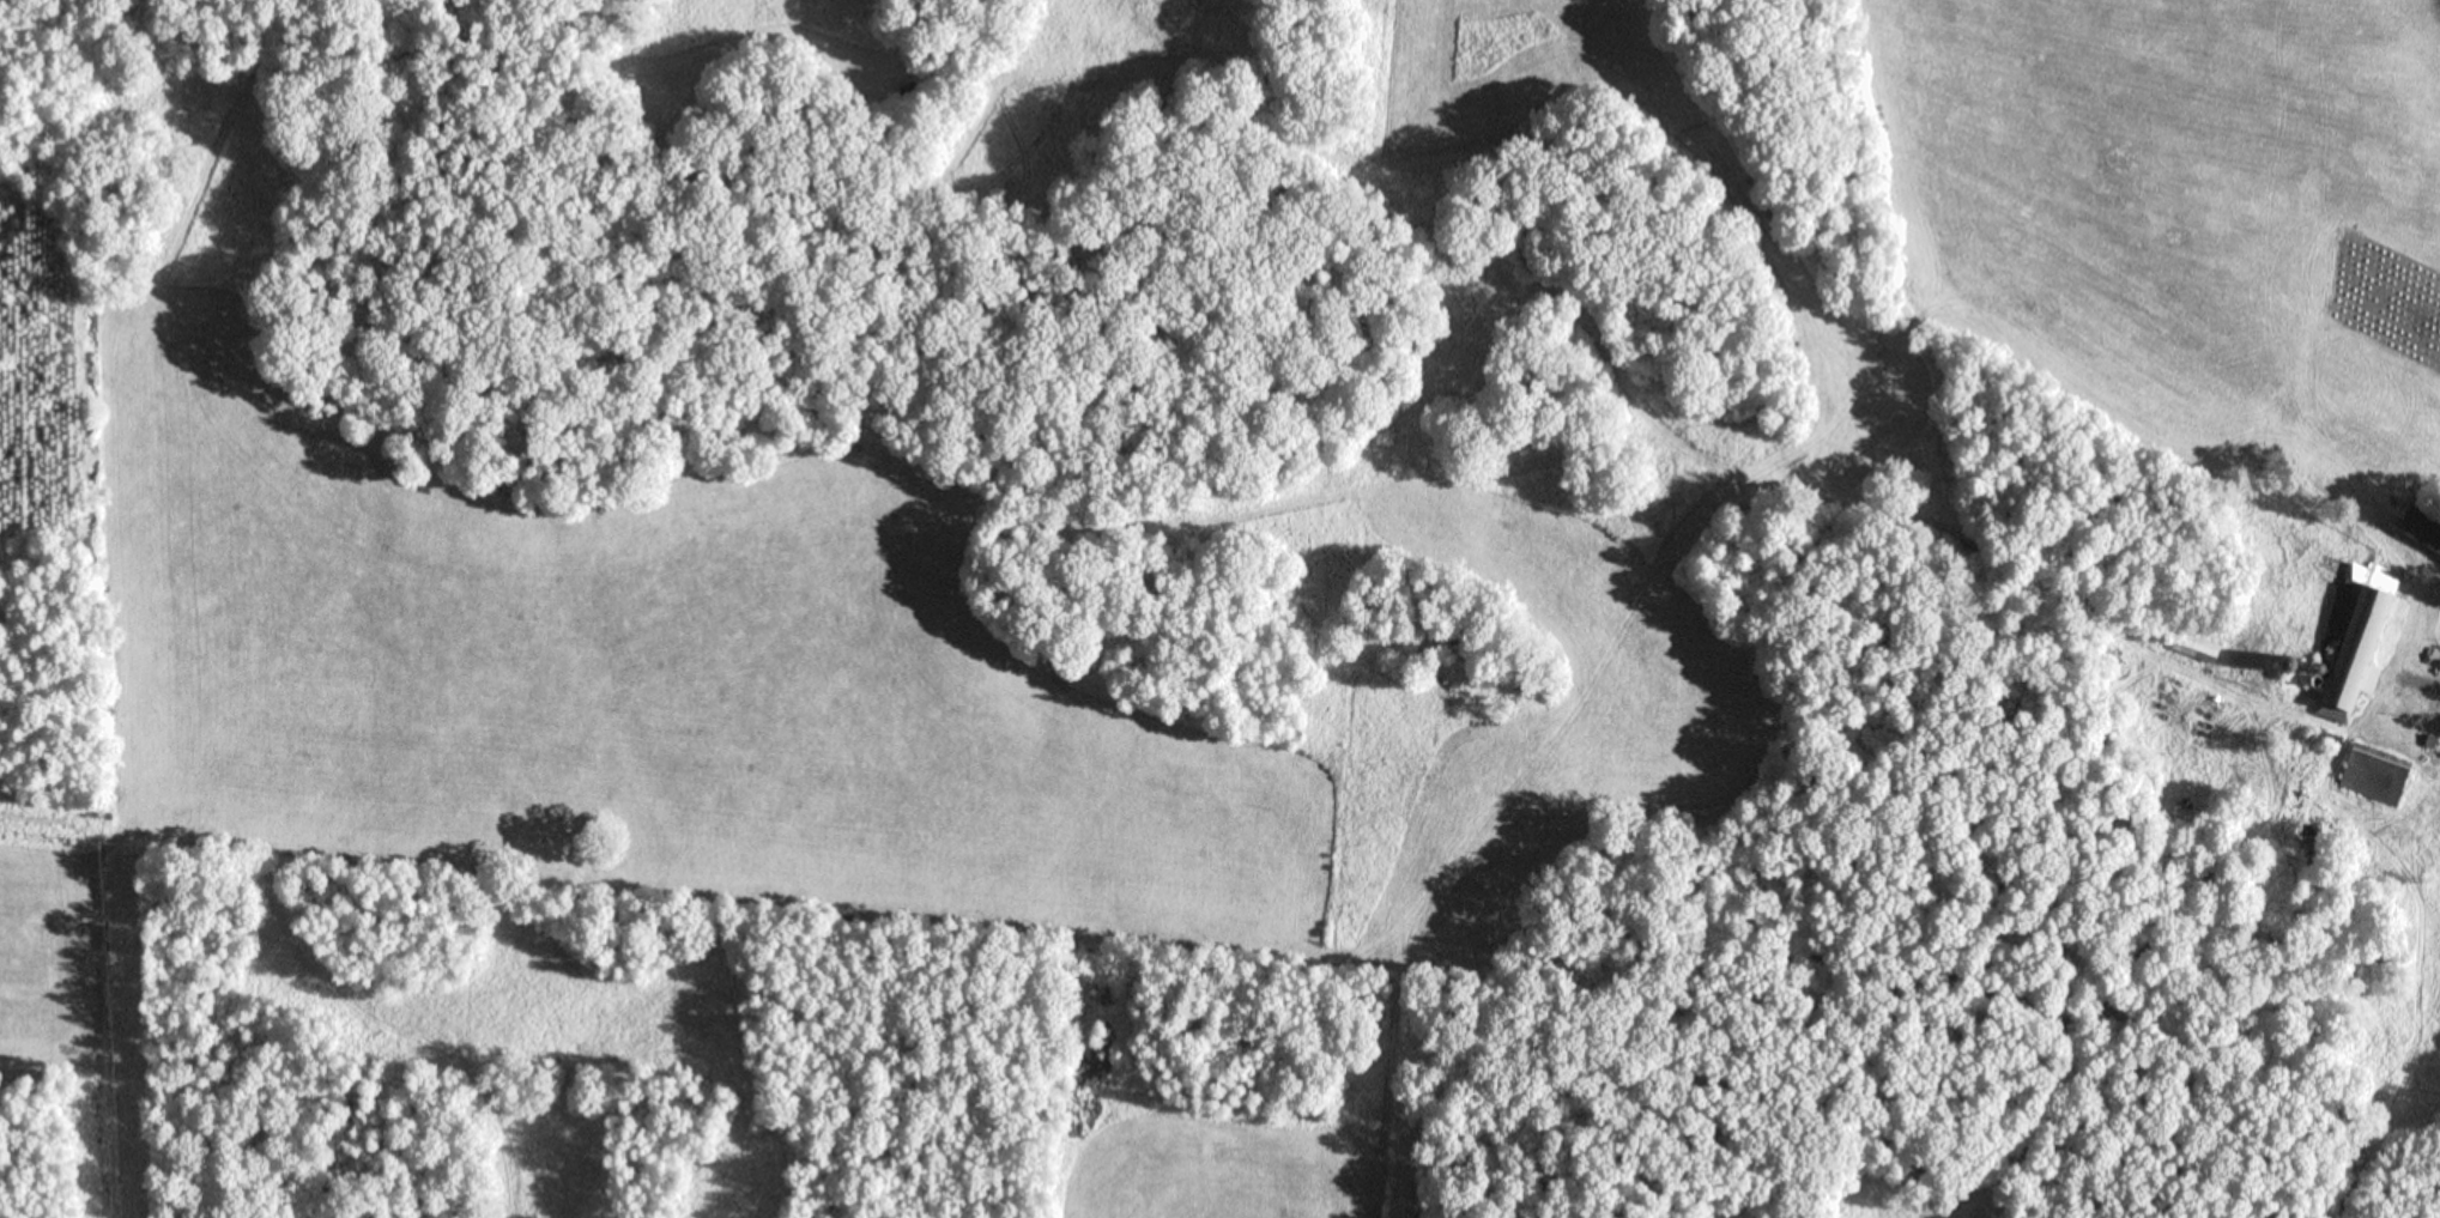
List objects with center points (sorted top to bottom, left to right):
building: (2356, 637)
building: (2371, 774)

